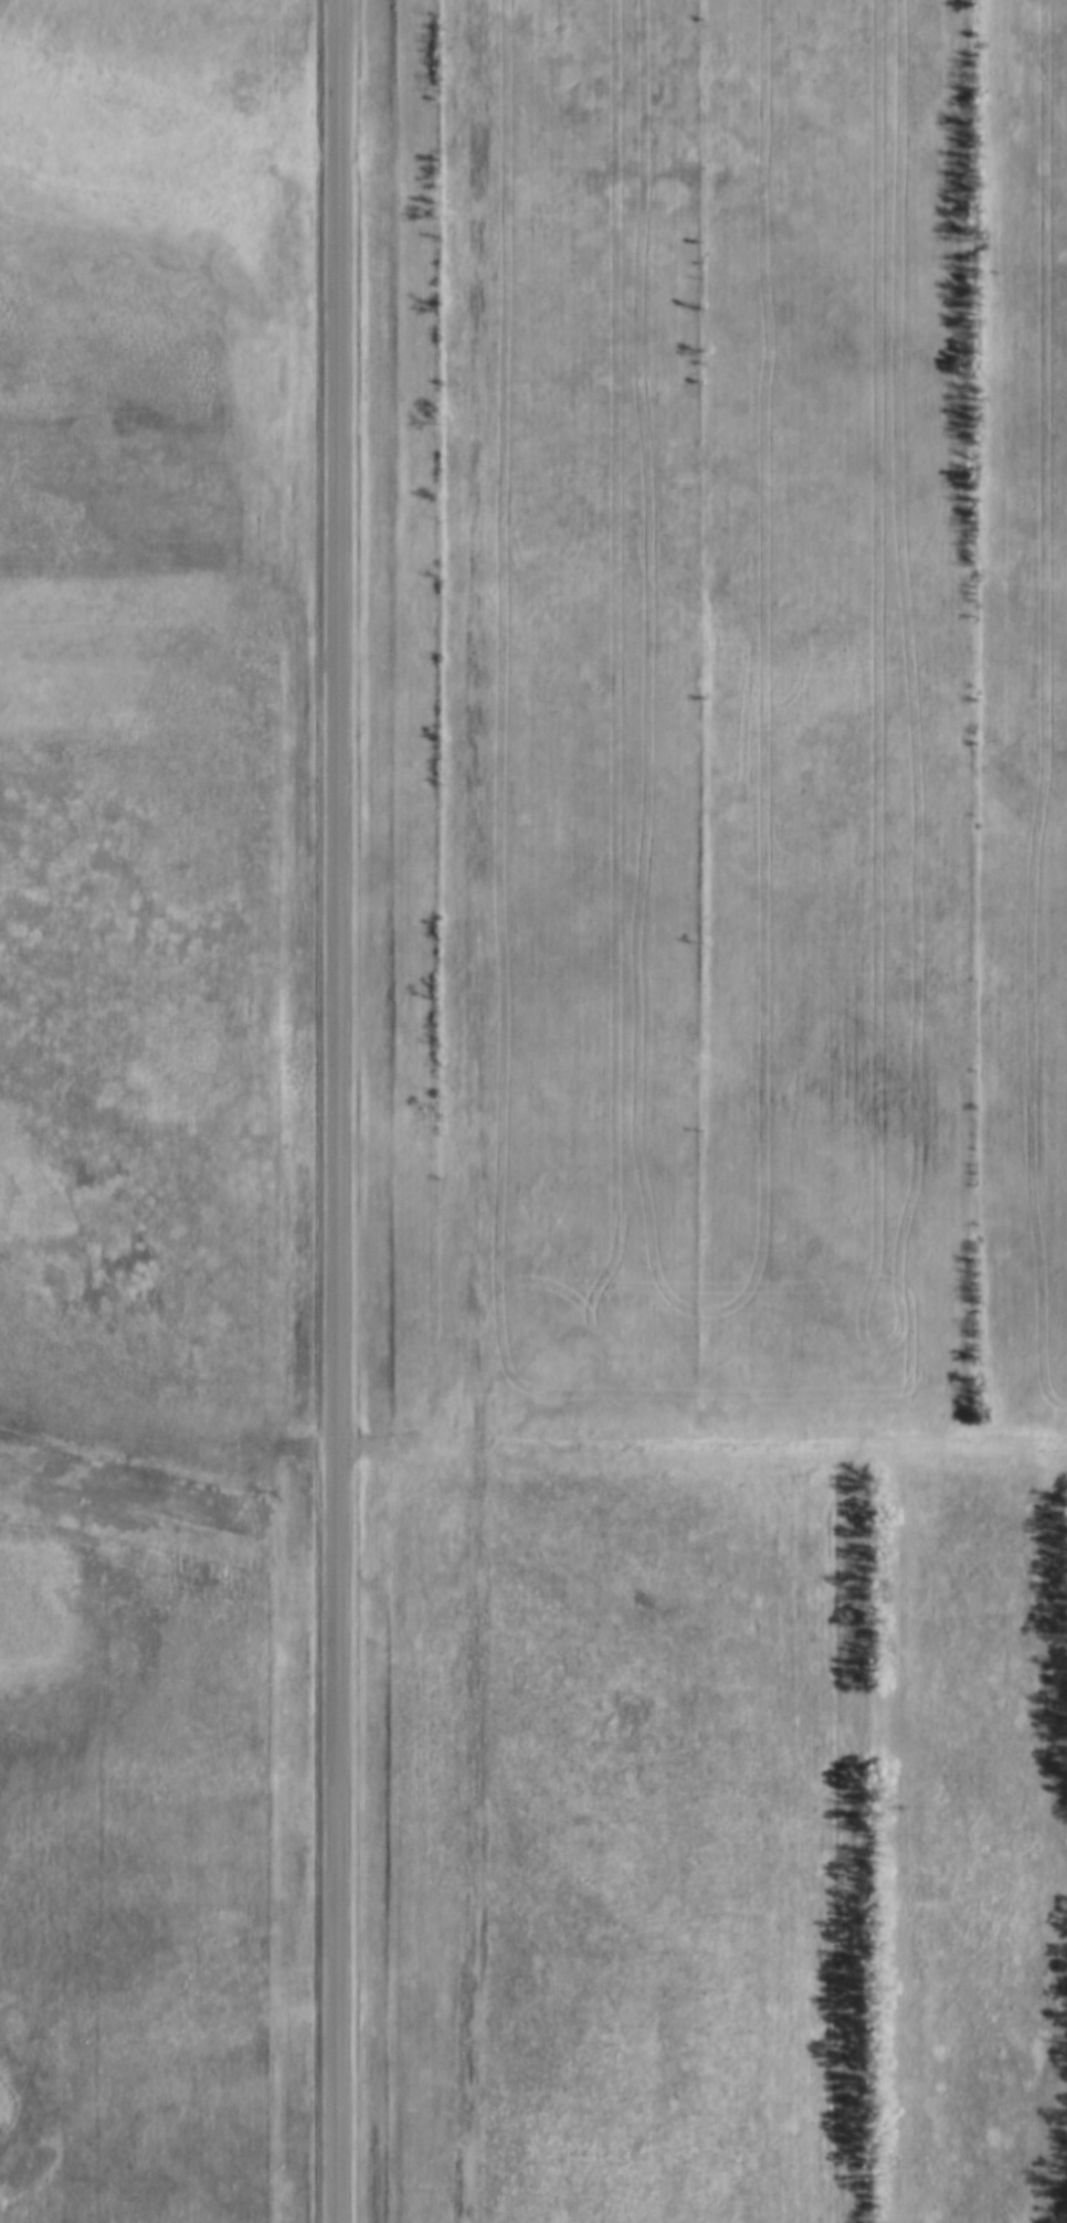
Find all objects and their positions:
road: (338, 1111)
road: (136, 1520)
road: (175, 1715)

